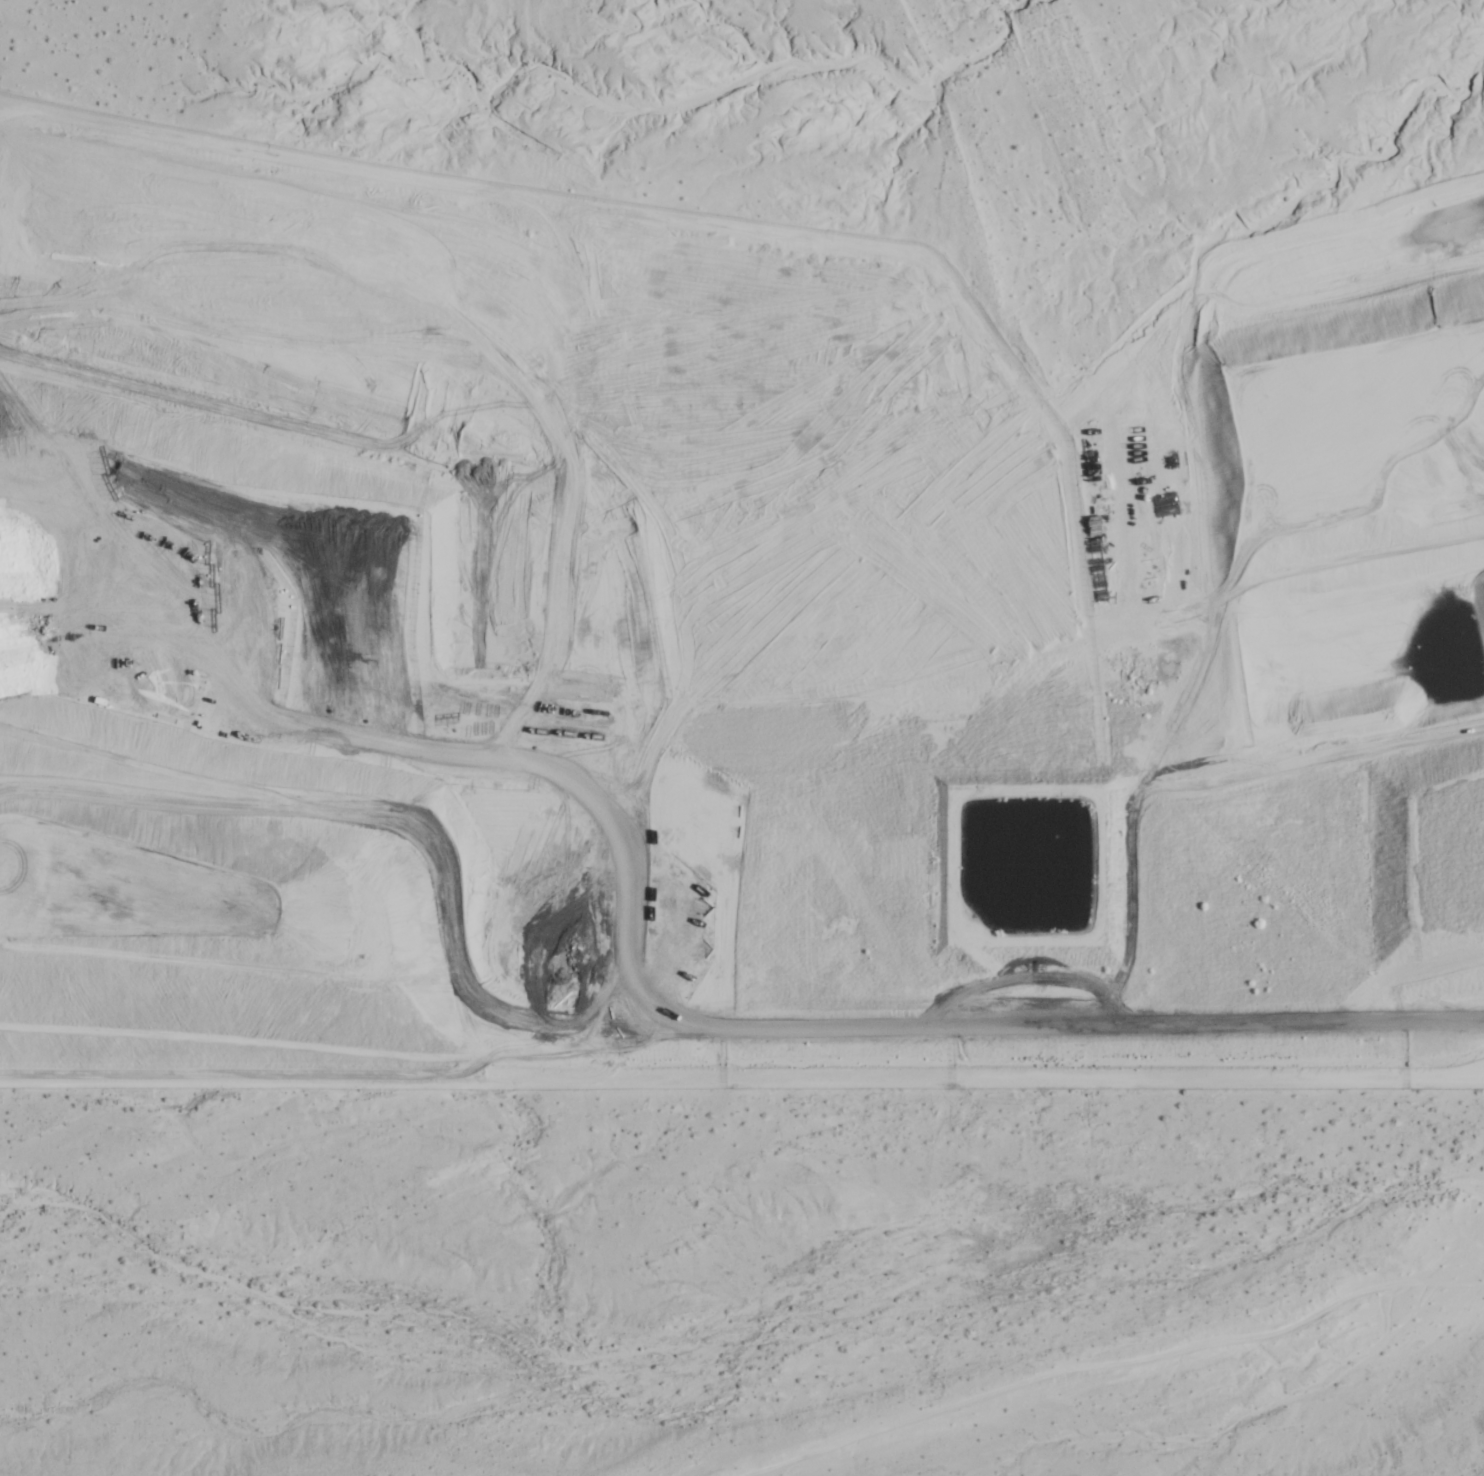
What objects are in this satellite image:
landfill: (742, 535)
road: (795, 1033)
road: (1115, 1363)

